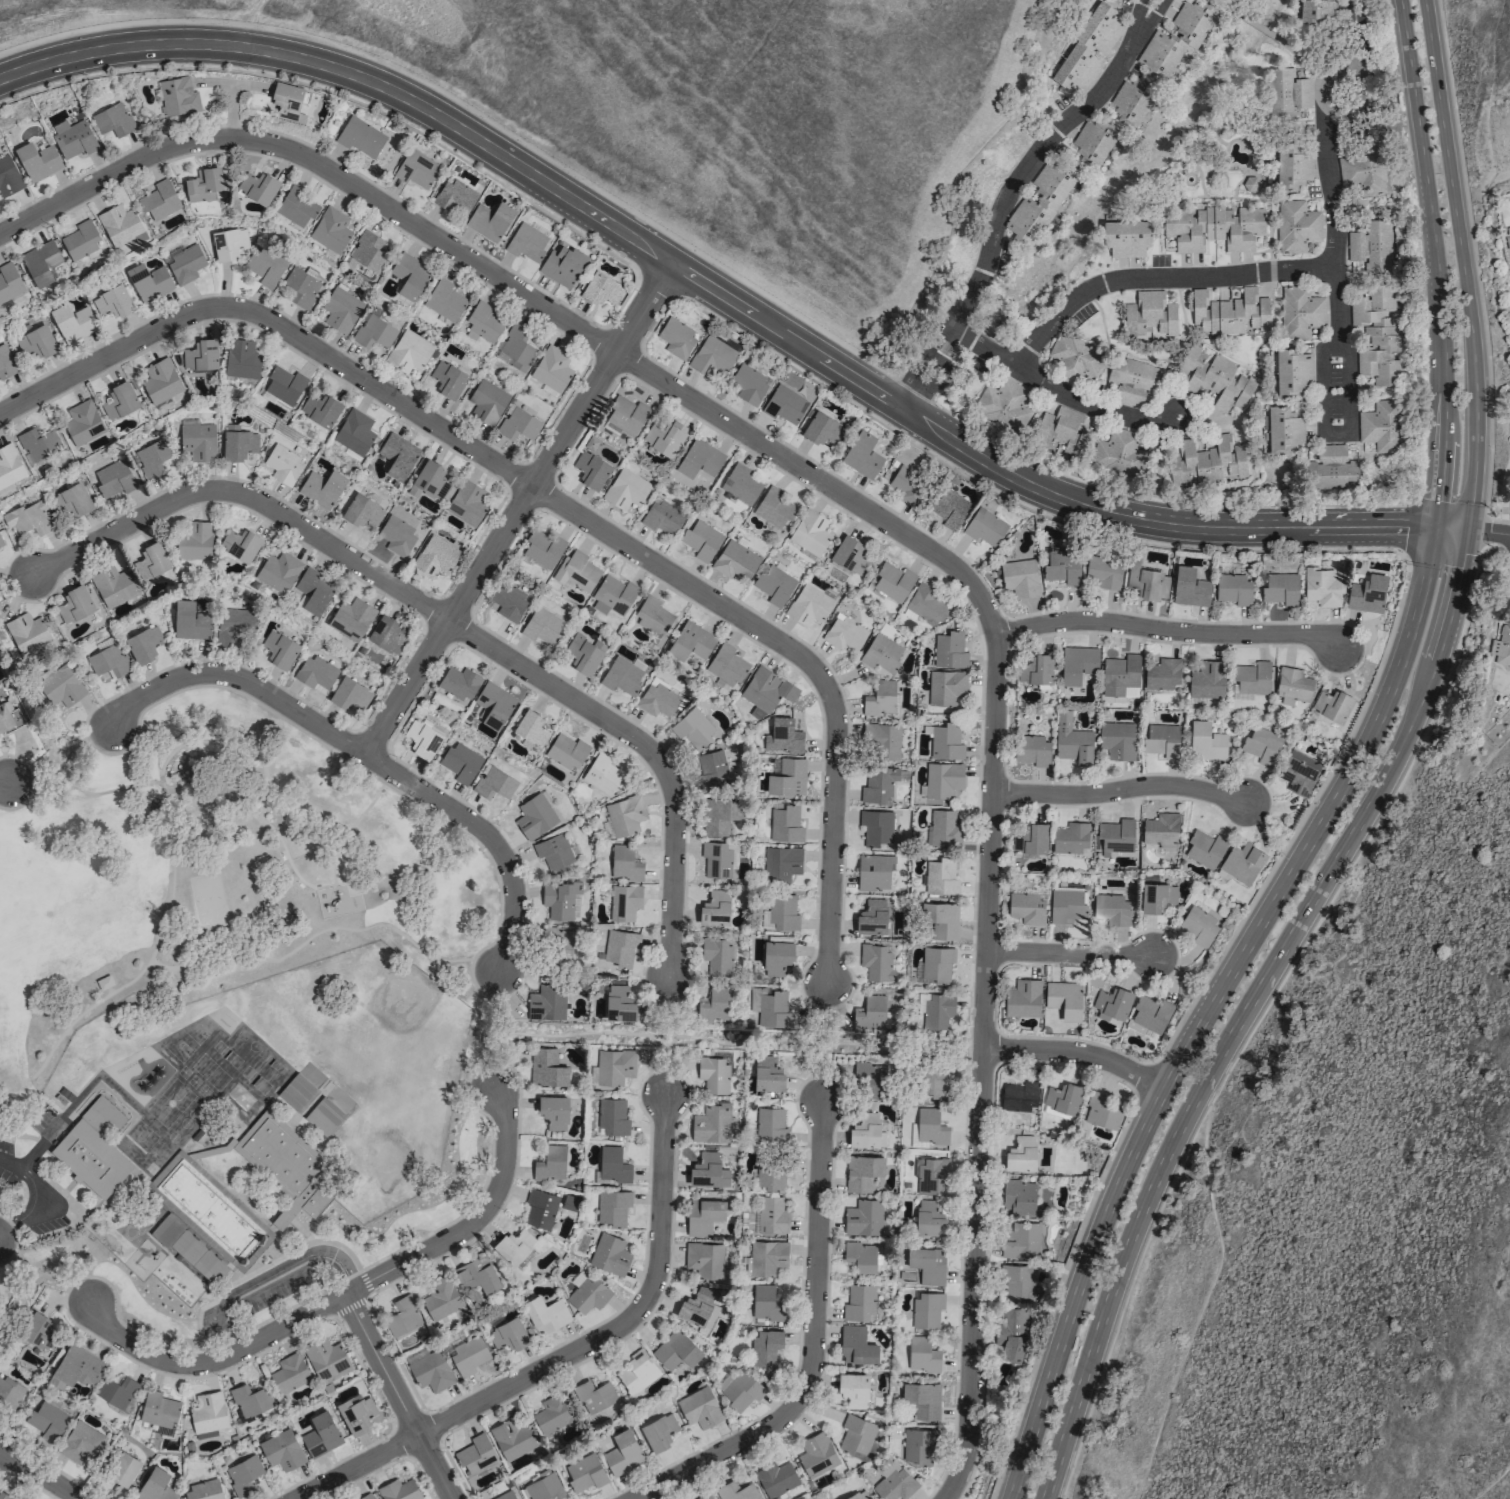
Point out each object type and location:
building: (1317, 11)
road: (250, 22)
building: (1176, 38)
building: (1089, 48)
building: (1286, 93)
building: (177, 96)
building: (287, 101)
building: (1132, 101)
building: (112, 120)
road: (1331, 133)
building: (360, 137)
building: (73, 138)
building: (1093, 142)
building: (37, 161)
building: (1292, 166)
road: (318, 167)
building: (418, 168)
building: (1362, 172)
building: (8, 177)
building: (204, 185)
building: (1250, 185)
building: (258, 188)
road: (1012, 193)
building: (456, 197)
building: (159, 200)
building: (1040, 202)
building: (296, 206)
building: (489, 220)
building: (120, 225)
building: (1296, 226)
building: (1214, 229)
building: (330, 231)
building: (1507, 236)
building: (1126, 238)
building: (80, 240)
building: (527, 241)
building: (228, 243)
building: (1371, 246)
building: (368, 251)
building: (40, 262)
road: (1436, 262)
building: (185, 264)
road: (1461, 264)
building: (562, 265)
building: (265, 266)
building: (409, 276)
road: (1158, 279)
building: (9, 282)
building: (148, 282)
building: (302, 288)
building: (601, 289)
road: (716, 293)
building: (444, 300)
building: (112, 302)
building: (340, 310)
building: (1300, 312)
building: (1150, 313)
building: (1229, 313)
building: (483, 322)
building: (72, 323)
road: (274, 324)
building: (374, 332)
building: (1377, 337)
building: (676, 338)
building: (35, 343)
building: (517, 347)
road: (1338, 351)
building: (408, 352)
building: (200, 354)
building: (712, 355)
building: (1074, 358)
building: (241, 359)
building: (6, 362)
building: (551, 368)
building: (1292, 372)
building: (448, 379)
building: (1214, 379)
building: (160, 380)
building: (1132, 380)
building: (748, 383)
building: (284, 384)
road: (1060, 391)
building: (119, 401)
building: (487, 402)
building: (783, 404)
building: (1003, 404)
building: (321, 410)
building: (626, 416)
building: (82, 422)
building: (518, 424)
building: (1382, 426)
building: (822, 428)
building: (1283, 430)
building: (1062, 431)
building: (354, 432)
building: (665, 437)
building: (197, 439)
building: (38, 443)
building: (238, 445)
building: (1119, 452)
building: (397, 455)
building: (862, 455)
building: (151, 458)
building: (699, 458)
building: (1206, 462)
building: (9, 465)
building: (281, 465)
building: (1333, 468)
building: (591, 469)
building: (114, 479)
building: (429, 480)
building: (740, 484)
building: (908, 485)
building: (322, 487)
building: (626, 489)
road: (246, 495)
road: (1502, 497)
building: (72, 500)
building: (467, 502)
road: (516, 508)
building: (774, 508)
building: (362, 511)
building: (662, 517)
building: (29, 518)
building: (985, 527)
road: (1454, 528)
building: (810, 532)
road: (1488, 533)
building: (397, 536)
building: (700, 540)
building: (194, 541)
building: (0, 543)
building: (239, 544)
building: (542, 548)
building: (850, 555)
building: (435, 556)
building: (151, 559)
building: (735, 561)
building: (1062, 568)
building: (576, 570)
building: (278, 571)
building: (1102, 572)
building: (1019, 577)
building: (1143, 580)
road: (13, 581)
building: (893, 581)
building: (773, 584)
building: (112, 585)
building: (1189, 587)
building: (1321, 587)
building: (1233, 589)
building: (1280, 589)
park: (2, 590)
building: (1366, 593)
building: (613, 595)
building: (508, 602)
building: (74, 604)
building: (808, 605)
building: (925, 605)
building: (351, 617)
building: (653, 617)
building: (190, 621)
building: (233, 626)
building: (541, 626)
road: (1167, 631)
building: (26, 632)
building: (844, 633)
building: (386, 634)
building: (690, 641)
building: (143, 644)
building: (1504, 646)
building: (279, 649)
building: (949, 650)
building: (584, 653)
building: (881, 653)
building: (107, 659)
road: (806, 662)
building: (1077, 663)
building: (725, 665)
building: (1036, 671)
building: (314, 672)
building: (1163, 674)
building: (1120, 675)
building: (621, 676)
road: (238, 679)
building: (1207, 680)
building: (1250, 680)
building: (459, 682)
building: (1293, 684)
building: (64, 685)
building: (945, 686)
building: (766, 689)
park: (27, 693)
building: (349, 694)
building: (880, 698)
building: (658, 699)
building: (494, 700)
road: (28, 705)
building: (1332, 705)
building: (8, 717)
building: (530, 728)
building: (693, 728)
building: (781, 737)
building: (422, 739)
building: (1117, 739)
building: (1160, 739)
building: (1072, 740)
building: (881, 741)
building: (945, 741)
building: (1206, 742)
building: (1261, 745)
road: (647, 749)
building: (1032, 750)
road: (57, 751)
building: (565, 751)
building: (460, 762)
building: (711, 768)
building: (1299, 772)
building: (602, 773)
building: (787, 777)
building: (943, 779)
road: (3, 781)
building: (494, 783)
building: (878, 784)
road: (1118, 789)
building: (625, 814)
building: (535, 815)
building: (720, 816)
building: (784, 824)
building: (876, 827)
road: (988, 827)
building: (943, 828)
building: (1161, 829)
road: (485, 834)
building: (1116, 835)
building: (1071, 837)
building: (1030, 838)
building: (1204, 848)
building: (554, 852)
building: (718, 859)
building: (625, 863)
building: (781, 863)
building: (873, 872)
building: (940, 876)
park: (215, 878)
building: (1157, 897)
building: (561, 899)
building: (624, 902)
building: (1066, 906)
building: (1026, 907)
building: (714, 908)
building: (1111, 908)
building: (780, 913)
building: (871, 915)
building: (942, 920)
building: (1198, 927)
building: (560, 939)
building: (619, 949)
road: (1069, 953)
building: (717, 955)
building: (776, 957)
building: (876, 962)
building: (936, 963)
building: (1023, 998)
building: (1064, 999)
building: (550, 1002)
building: (618, 1003)
building: (1112, 1003)
building: (714, 1004)
road: (1211, 1005)
road: (1245, 1008)
building: (773, 1009)
building: (937, 1009)
building: (869, 1013)
building: (1147, 1014)
road: (493, 1027)
road: (663, 1034)
park: (741, 1038)
road: (823, 1039)
road: (737, 1041)
road: (1075, 1052)
building: (614, 1066)
building: (547, 1067)
building: (767, 1073)
building: (712, 1074)
building: (935, 1079)
building: (870, 1081)
building: (296, 1092)
building: (1019, 1095)
building: (1062, 1097)
building: (553, 1111)
building: (1101, 1111)
building: (323, 1115)
building: (612, 1116)
building: (711, 1123)
building: (770, 1124)
building: (928, 1127)
building: (866, 1131)
building: (1021, 1154)
building: (90, 1158)
building: (550, 1163)
building: (285, 1165)
building: (613, 1165)
building: (708, 1170)
building: (862, 1172)
building: (769, 1174)
building: (931, 1175)
road: (33, 1195)
building: (1018, 1199)
building: (569, 1202)
building: (207, 1205)
building: (612, 1206)
building: (540, 1209)
building: (772, 1214)
building: (703, 1215)
building: (863, 1217)
building: (929, 1218)
road: (473, 1220)
building: (1021, 1241)
building: (513, 1245)
building: (189, 1248)
building: (609, 1254)
building: (768, 1257)
building: (860, 1257)
building: (704, 1259)
building: (925, 1263)
building: (478, 1273)
road: (41, 1274)
road: (268, 1276)
building: (170, 1277)
building: (1018, 1281)
park: (24, 1292)
building: (588, 1294)
building: (440, 1298)
road: (18, 1301)
road: (1204, 1301)
building: (859, 1302)
building: (766, 1303)
building: (697, 1305)
building: (926, 1309)
building: (545, 1314)
building: (402, 1315)
road: (623, 1319)
building: (36, 1329)
building: (1011, 1333)
building: (508, 1334)
building: (856, 1345)
building: (764, 1346)
road: (811, 1346)
building: (676, 1350)
building: (922, 1354)
building: (466, 1355)
building: (326, 1359)
road: (210, 1363)
building: (75, 1367)
building: (430, 1371)
building: (288, 1372)
building: (636, 1372)
building: (741, 1389)
building: (853, 1389)
building: (118, 1392)
building: (9, 1394)
building: (593, 1395)
road: (396, 1396)
building: (249, 1399)
building: (922, 1399)
building: (699, 1407)
building: (157, 1409)
building: (207, 1412)
building: (552, 1413)
building: (356, 1414)
building: (45, 1421)
building: (658, 1431)
building: (320, 1434)
building: (857, 1435)
building: (512, 1437)
building: (80, 1444)
building: (918, 1444)
building: (281, 1450)
building: (622, 1452)
building: (474, 1454)
building: (816, 1454)
road: (353, 1466)
building: (122, 1467)
building: (584, 1472)
road: (39, 1474)
building: (776, 1478)
road: (1491, 1482)
building: (895, 1484)
building: (155, 1485)
building: (542, 1486)
building: (399, 1489)
building: (203, 1490)
building: (737, 1491)
building: (4, 1495)
building: (506, 1495)
building: (857, 1495)
building: (366, 1496)
building: (704, 1496)

